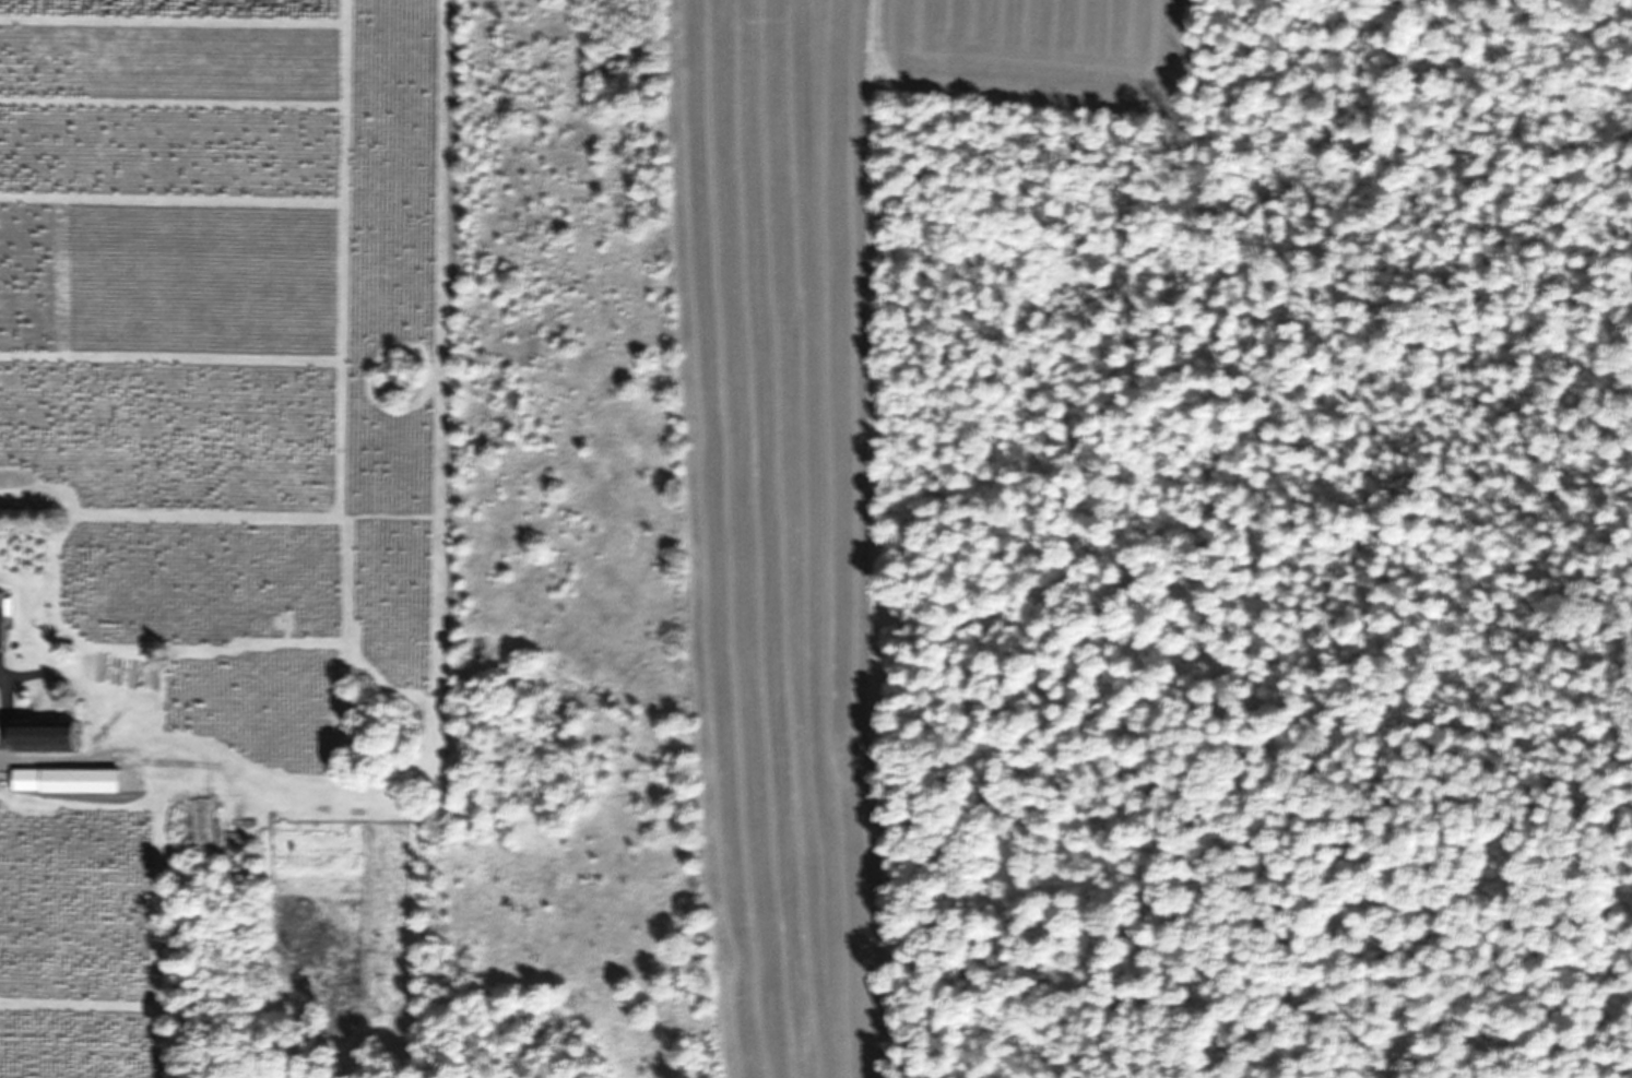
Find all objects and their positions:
building: (4, 619)
building: (52, 737)
building: (31, 780)

